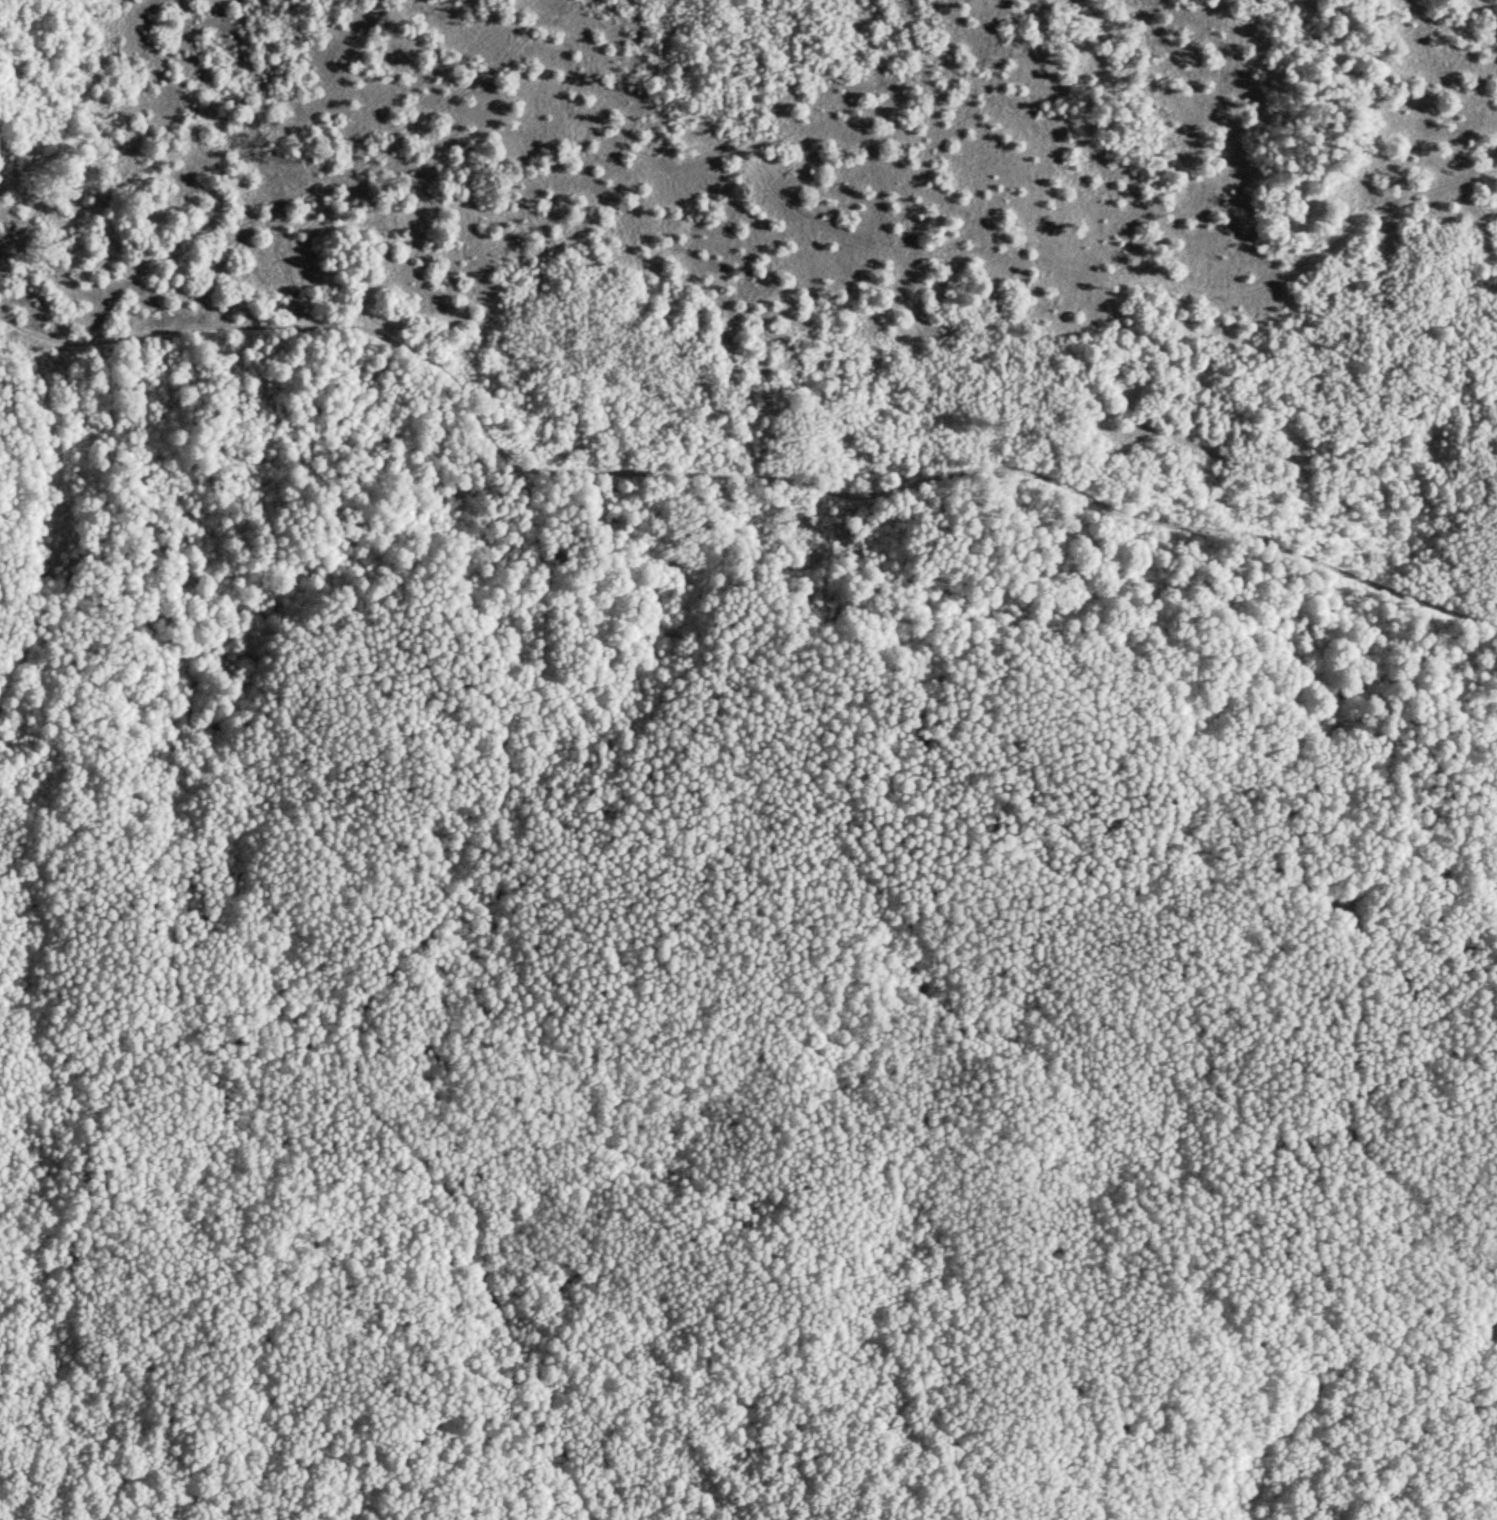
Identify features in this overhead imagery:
road: (734, 477)

